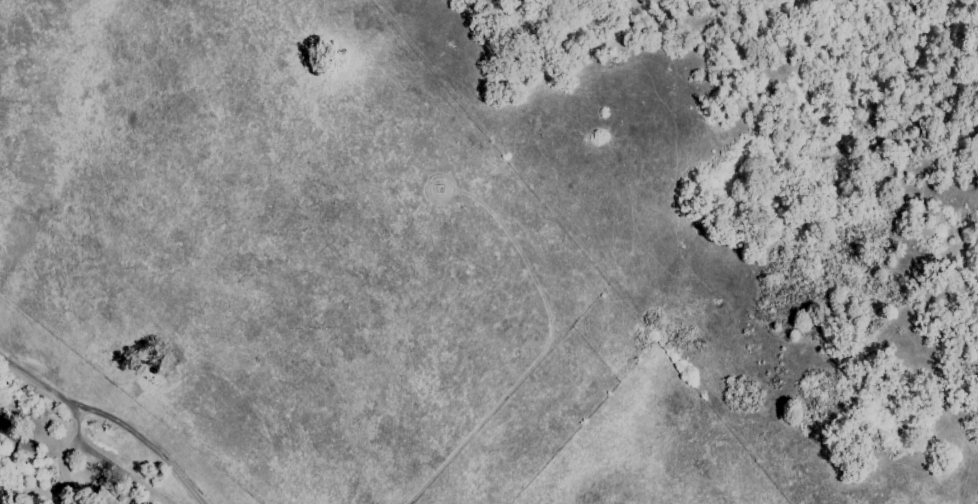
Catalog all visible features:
road: (107, 417)
building: (24, 451)

